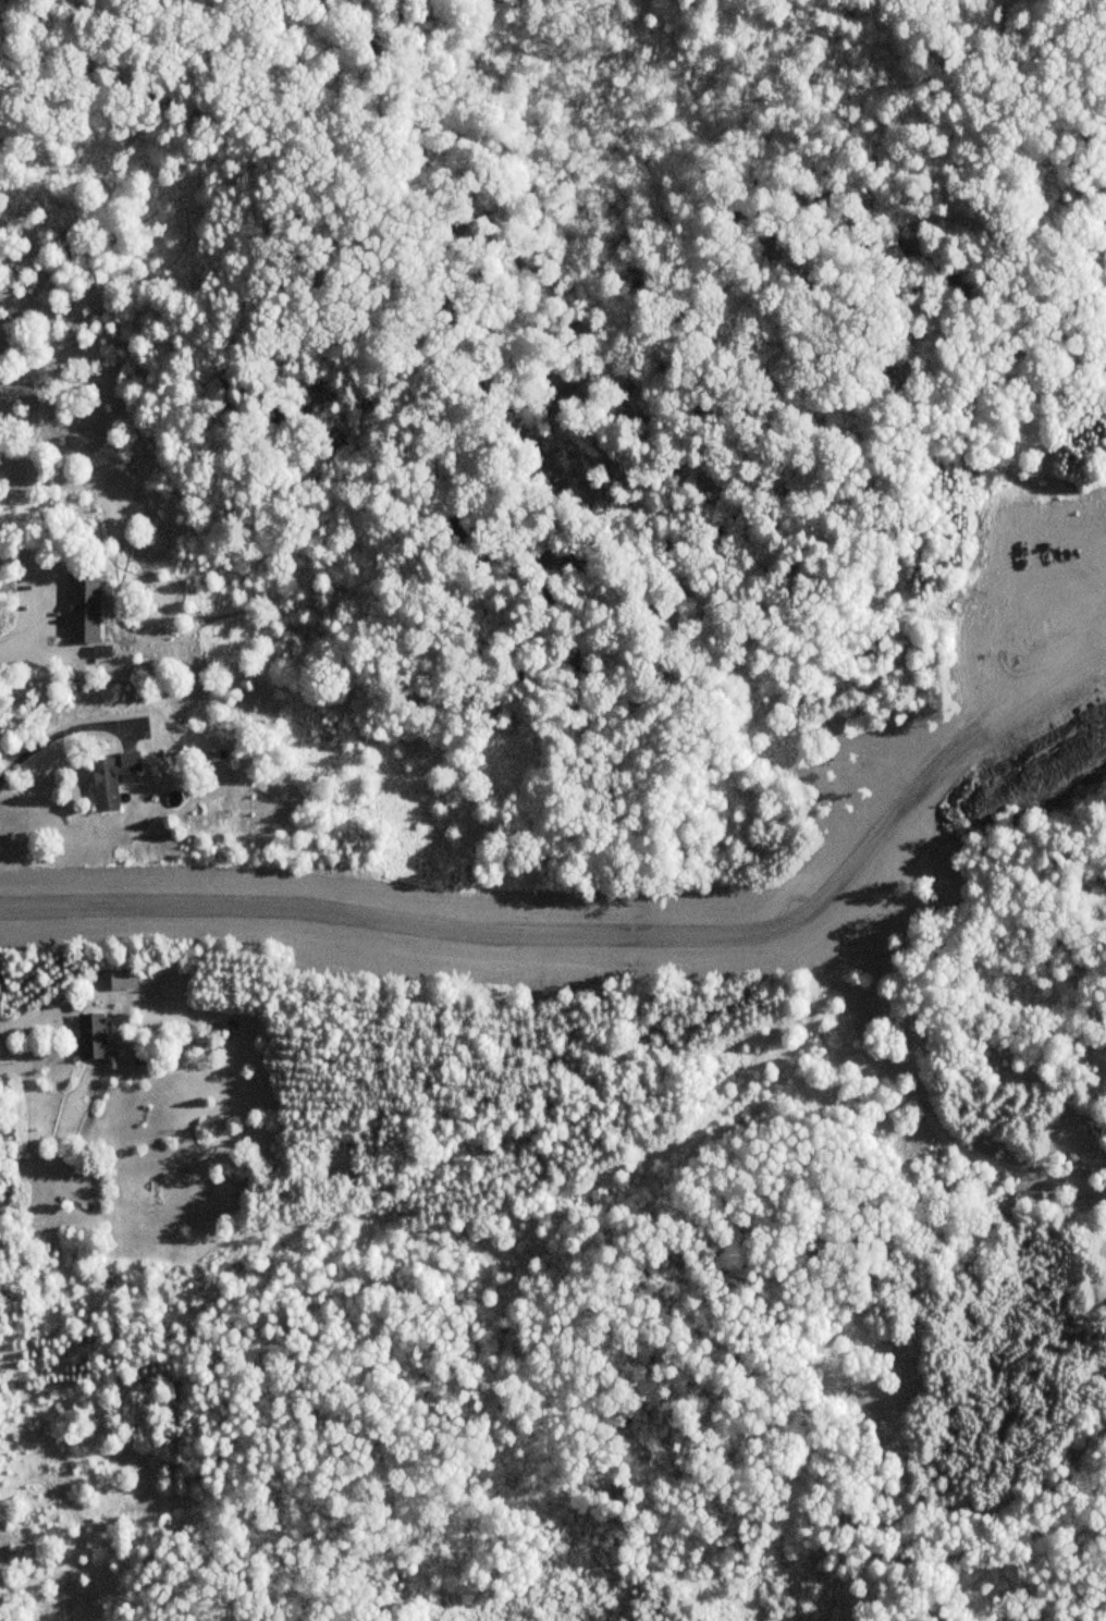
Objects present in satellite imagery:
building: (85, 605)
building: (108, 779)
road: (340, 925)
building: (121, 980)
building: (88, 1037)

